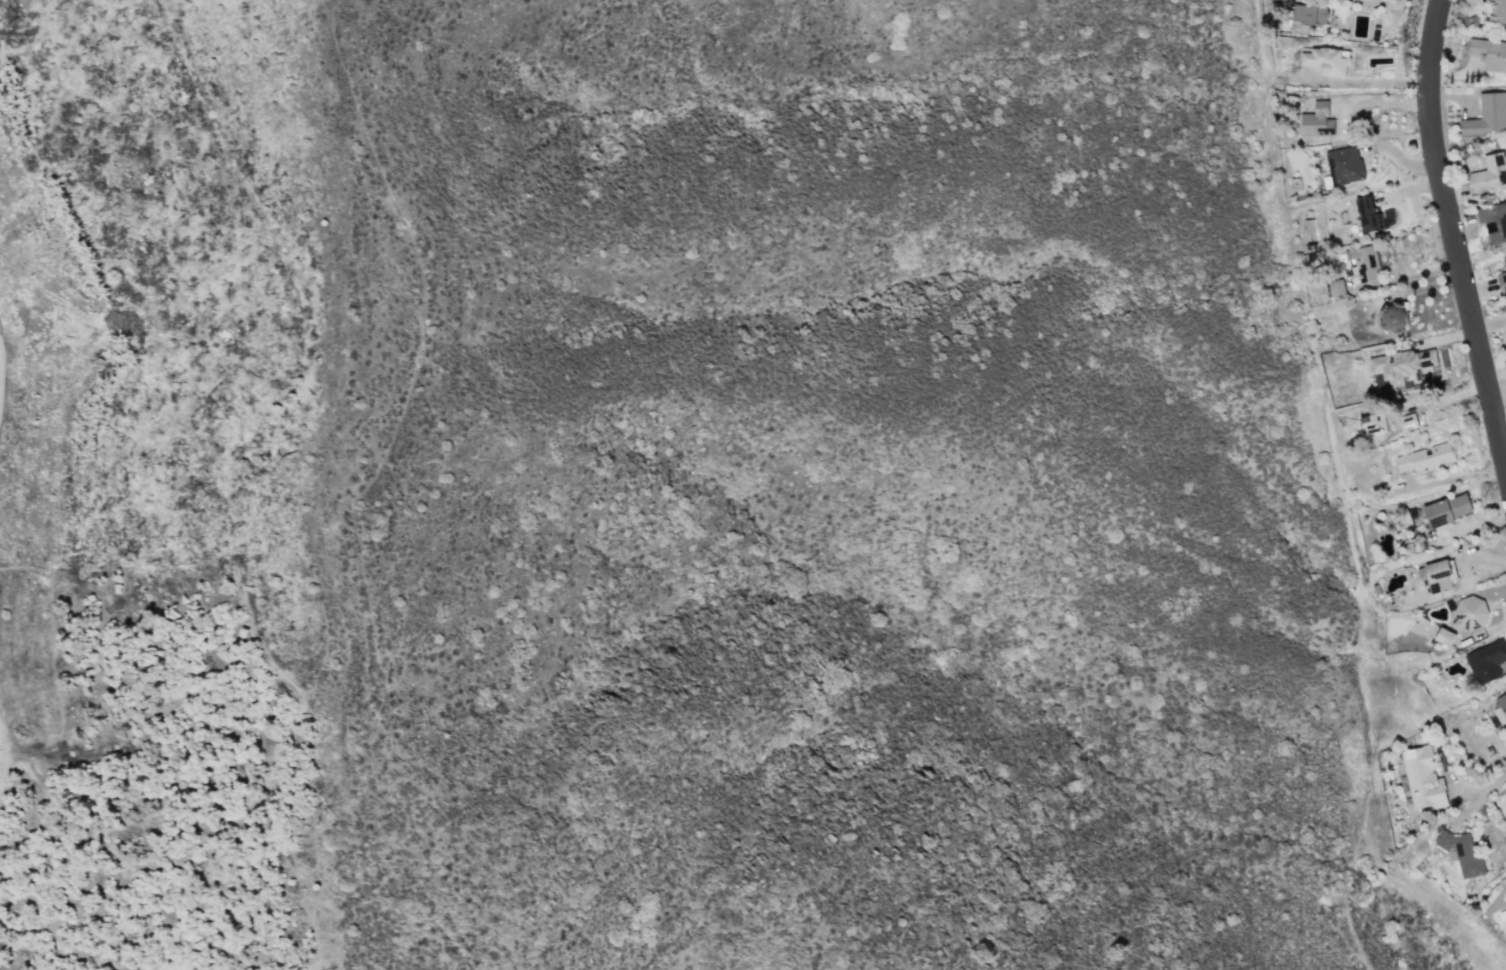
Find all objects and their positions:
road: (1385, 2)
building: (1497, 12)
building: (1309, 13)
building: (1488, 53)
building: (1326, 60)
road: (1369, 79)
road: (1379, 102)
building: (1486, 116)
building: (1316, 120)
building: (1344, 165)
building: (1489, 173)
building: (1368, 215)
building: (1493, 222)
road: (1452, 228)
building: (1505, 257)
building: (1362, 262)
building: (1501, 283)
building: (1335, 287)
building: (1392, 315)
building: (1505, 334)
road: (0, 377)
building: (1373, 424)
building: (1423, 458)
building: (1446, 509)
building: (1436, 574)
building: (1469, 612)
building: (1443, 636)
building: (1486, 661)
building: (1500, 701)
road: (4, 758)
building: (1422, 778)
road: (1483, 790)
road: (1471, 802)
building: (1463, 853)

